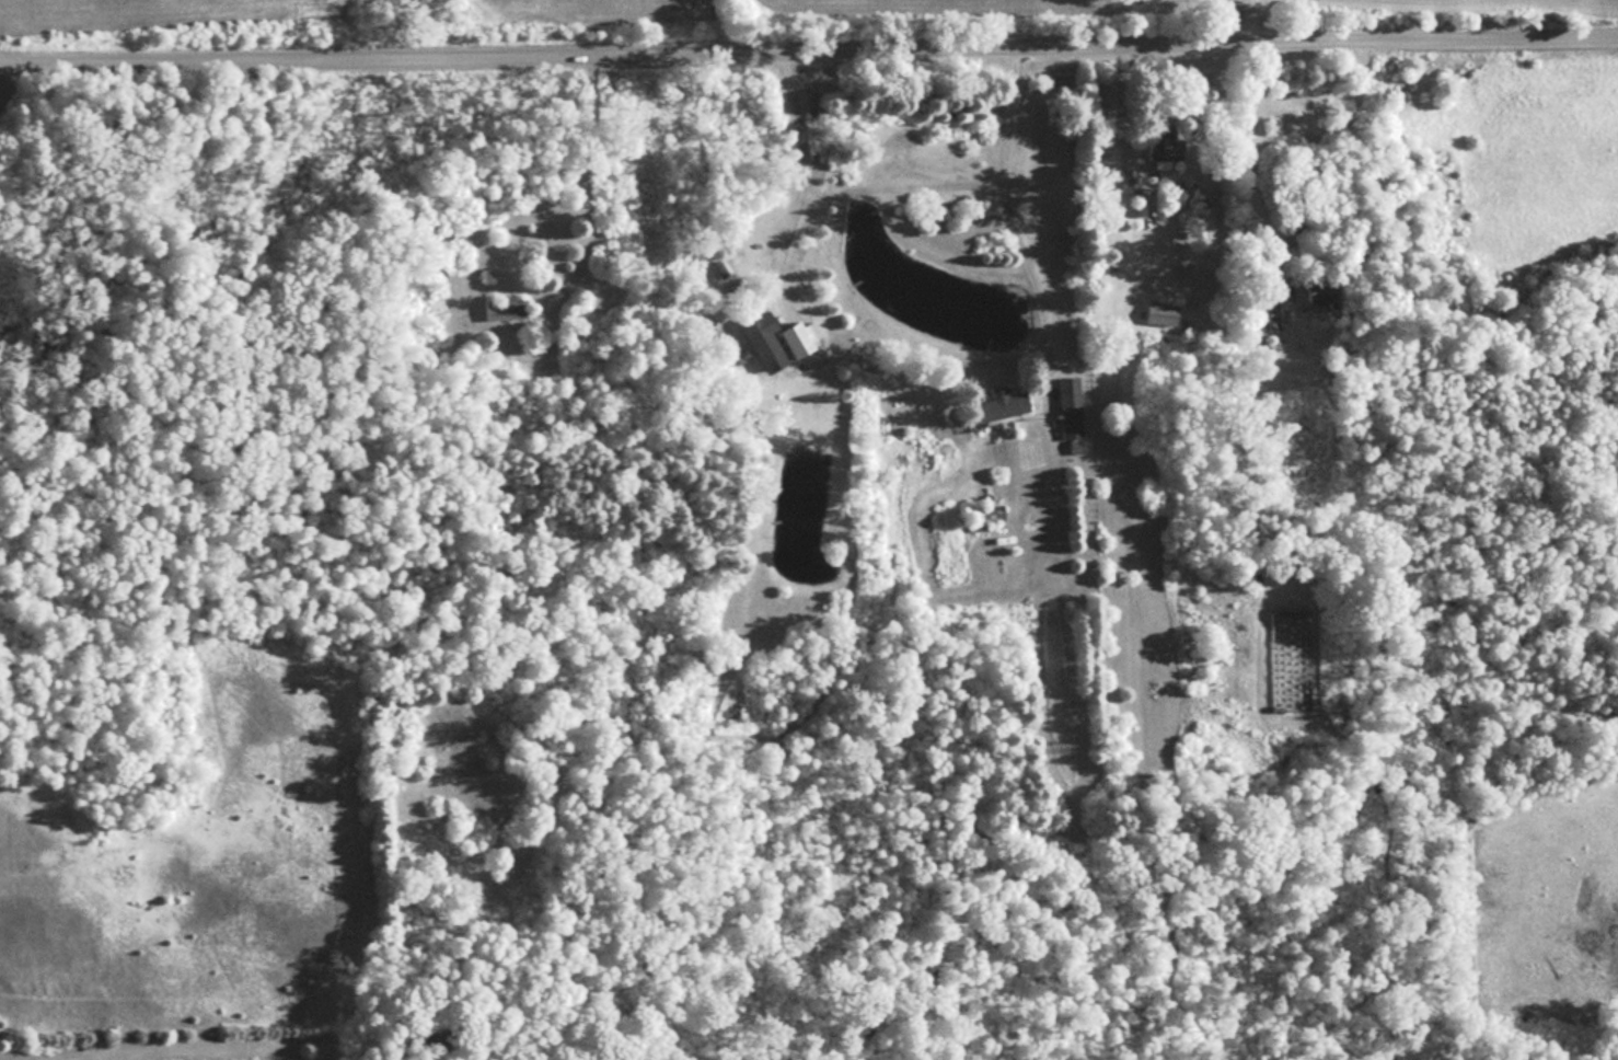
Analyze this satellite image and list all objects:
road: (808, 42)
building: (1152, 149)
road: (1259, 166)
road: (805, 173)
road: (1009, 203)
building: (1320, 291)
building: (434, 308)
building: (499, 308)
building: (1157, 313)
building: (773, 339)
building: (991, 406)
building: (1066, 407)
building: (983, 519)

